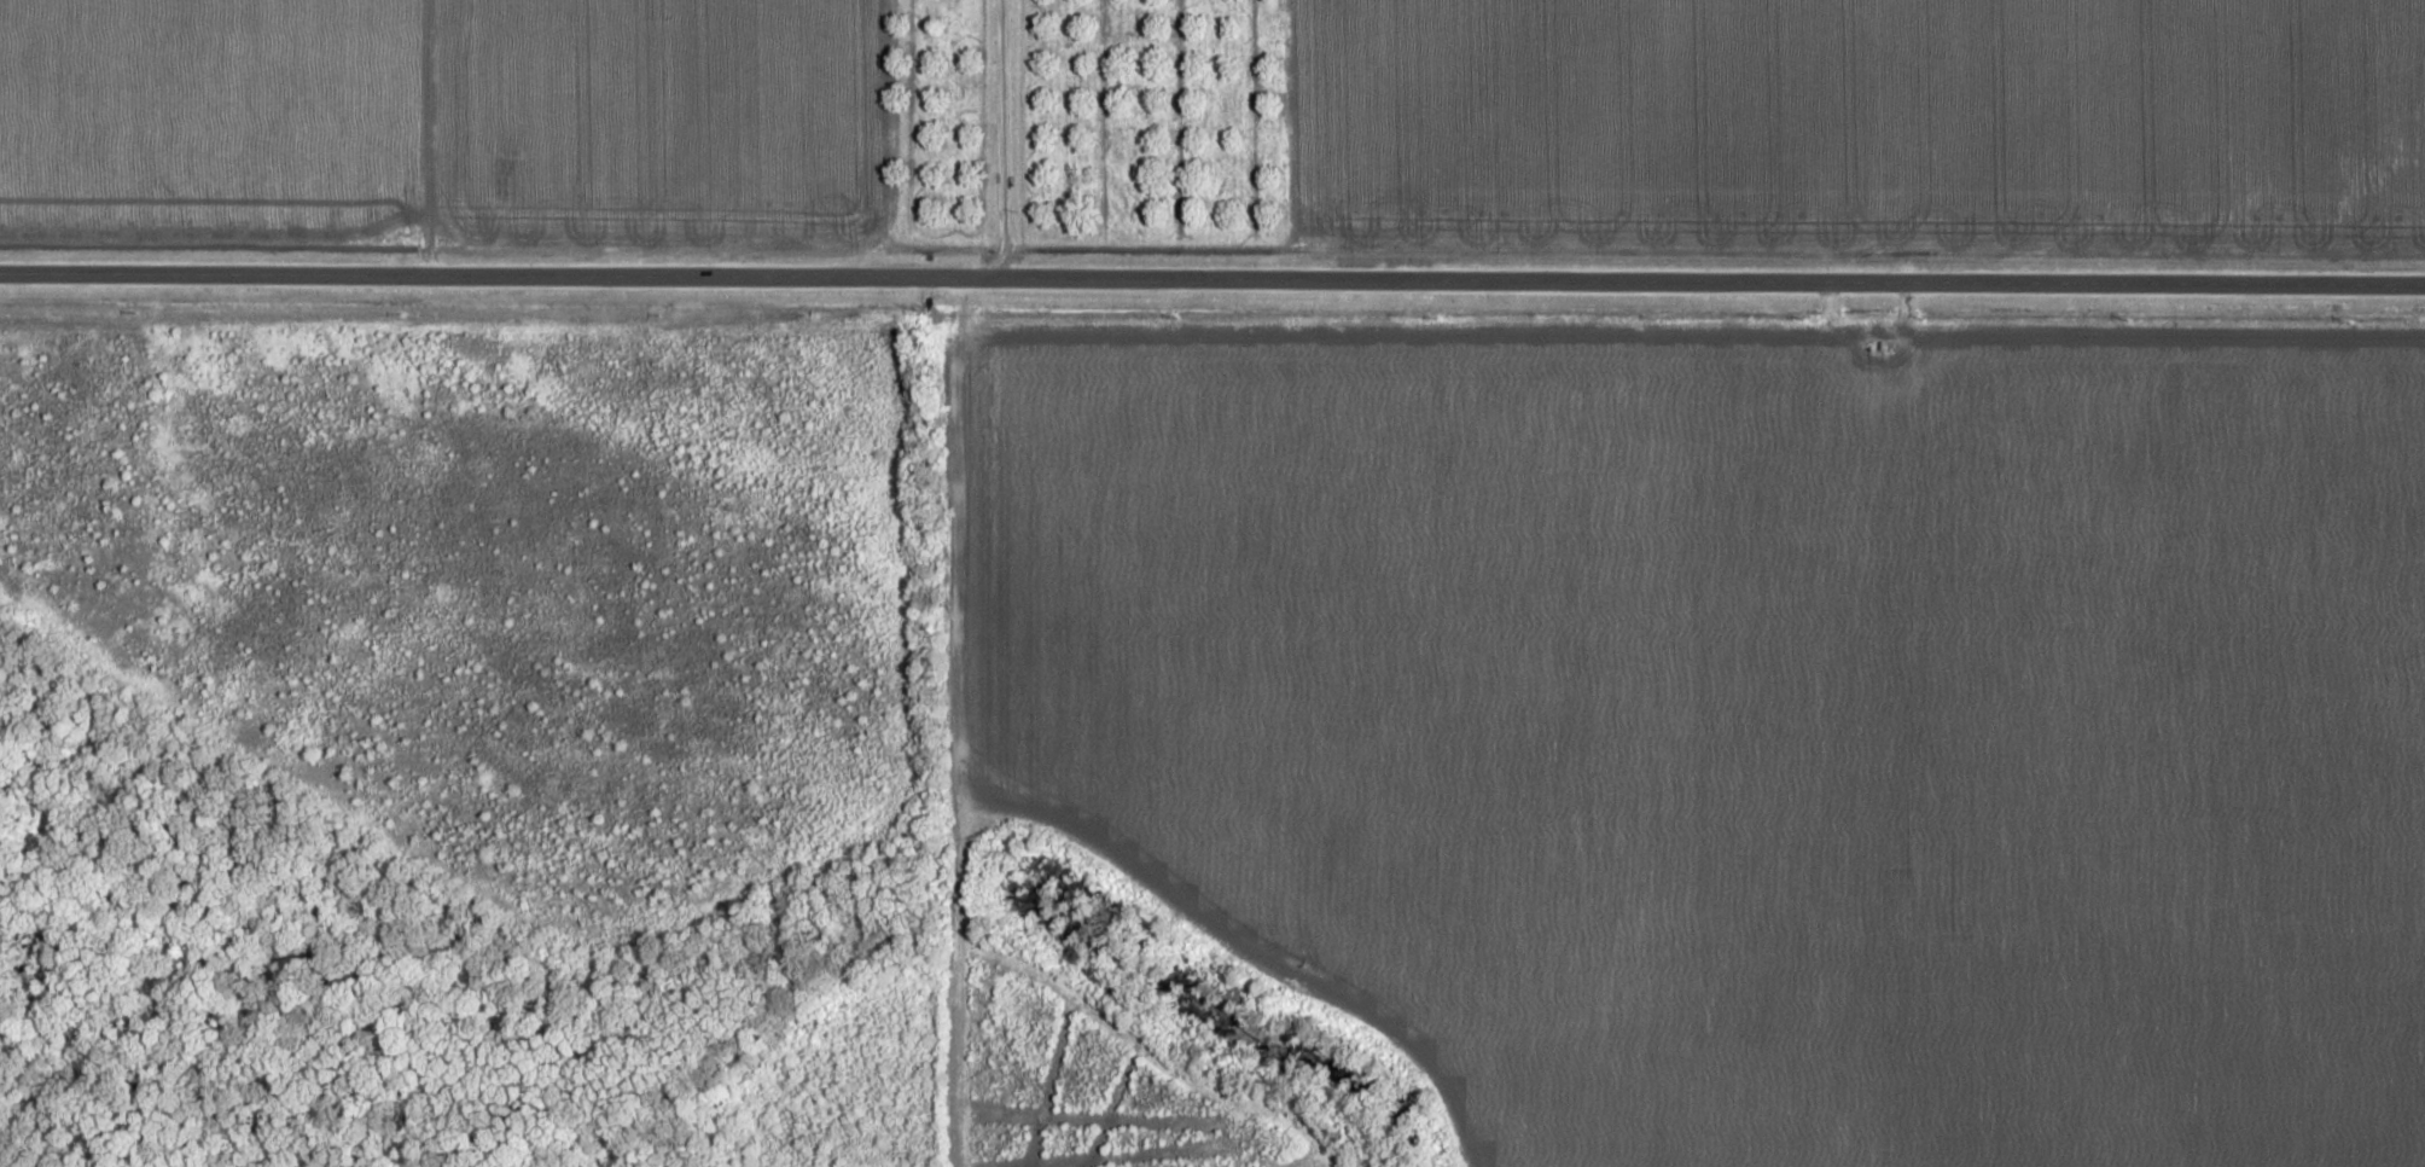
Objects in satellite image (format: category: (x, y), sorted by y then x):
road: (1002, 139)
road: (1211, 279)
road: (943, 722)

